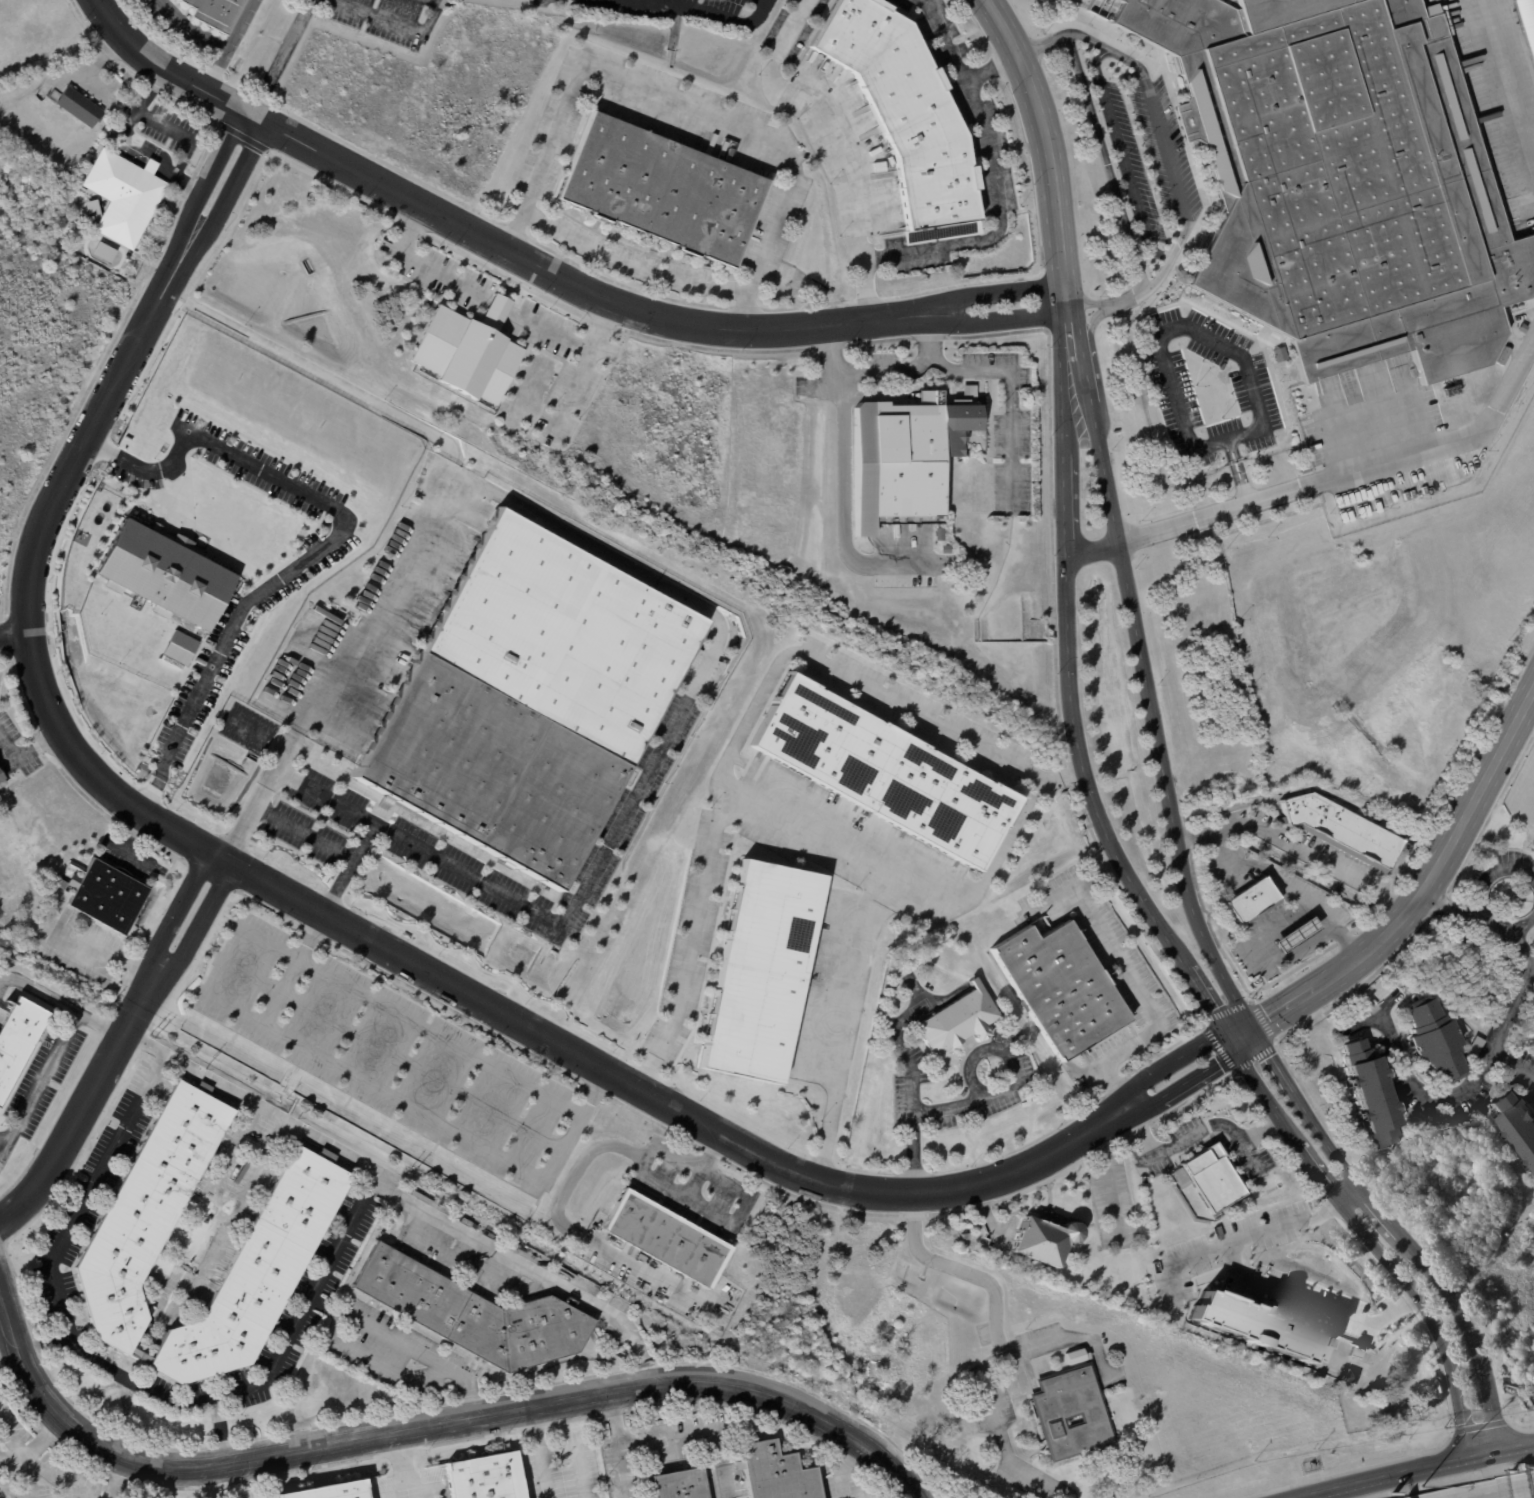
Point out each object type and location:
building: (1079, 4)
parking lot: (694, 10)
building: (216, 12)
road: (708, 15)
road: (396, 22)
building: (1526, 23)
road: (184, 32)
road: (231, 45)
road: (281, 56)
road: (165, 68)
road: (990, 68)
road: (1507, 77)
road: (678, 102)
building: (78, 105)
building: (906, 114)
road: (832, 142)
road: (1168, 146)
road: (1047, 150)
road: (1125, 158)
road: (993, 174)
building: (1340, 179)
building: (663, 190)
building: (126, 195)
building: (93, 207)
road: (1127, 220)
building: (77, 224)
building: (68, 230)
building: (106, 251)
road: (424, 263)
road: (627, 267)
road: (570, 281)
road: (990, 292)
road: (1093, 303)
road: (498, 305)
road: (993, 320)
building: (1519, 330)
road: (925, 335)
road: (569, 340)
road: (1208, 340)
building: (468, 351)
building: (1501, 356)
road: (985, 369)
road: (313, 372)
road: (1066, 380)
road: (576, 381)
road: (1097, 428)
building: (908, 455)
road: (1356, 475)
road: (271, 477)
road: (846, 484)
road: (1066, 502)
building: (935, 534)
building: (941, 549)
road: (1094, 551)
building: (167, 575)
road: (680, 592)
road: (14, 634)
building: (181, 648)
building: (530, 699)
road: (193, 710)
road: (753, 716)
road: (258, 732)
road: (26, 750)
building: (884, 770)
road: (1085, 775)
building: (2, 781)
road: (325, 793)
building: (1341, 830)
road: (304, 831)
road: (1315, 853)
road: (898, 874)
road: (1273, 876)
building: (107, 897)
road: (1416, 898)
building: (1253, 900)
road: (1479, 901)
building: (1532, 903)
road: (1451, 908)
road: (329, 921)
building: (1291, 933)
road: (1522, 939)
road: (1530, 952)
road: (1264, 958)
building: (762, 973)
road: (350, 987)
building: (1061, 987)
road: (1137, 987)
road: (1210, 1004)
road: (1387, 1007)
building: (958, 1020)
road: (835, 1022)
road: (100, 1023)
road: (1253, 1024)
building: (1434, 1040)
building: (19, 1043)
road: (60, 1043)
road: (115, 1046)
parking lot: (386, 1051)
road: (393, 1054)
road: (1512, 1063)
road: (1266, 1092)
road: (287, 1094)
building: (1371, 1095)
road: (1456, 1098)
road: (401, 1100)
building: (1517, 1124)
road: (1193, 1134)
road: (711, 1150)
road: (1319, 1171)
road: (637, 1172)
building: (1209, 1178)
road: (1107, 1182)
road: (1349, 1191)
road: (741, 1208)
building: (463, 1216)
building: (292, 1221)
road: (573, 1233)
building: (968, 1236)
building: (666, 1237)
road: (919, 1239)
building: (1042, 1242)
road: (459, 1264)
road: (528, 1267)
road: (1255, 1282)
road: (163, 1306)
road: (324, 1307)
building: (474, 1314)
road: (1427, 1315)
road: (351, 1316)
building: (1253, 1324)
road: (1064, 1336)
road: (42, 1343)
building: (1355, 1349)
building: (1075, 1355)
building: (1351, 1376)
road: (260, 1380)
building: (1065, 1411)
road: (430, 1422)
road: (219, 1429)
road: (701, 1431)
road: (40, 1442)
road: (618, 1444)
road: (540, 1451)
road: (575, 1455)
road: (0, 1456)
road: (19, 1467)
road: (842, 1467)
road: (1415, 1467)
road: (34, 1468)
road: (404, 1468)
building: (776, 1473)
building: (486, 1477)
road: (115, 1478)
road: (30, 1479)
road: (66, 1481)
road: (206, 1482)
building: (682, 1485)
road: (395, 1486)
road: (1530, 1488)
road: (69, 1490)
building: (333, 1491)
road: (1504, 1493)

